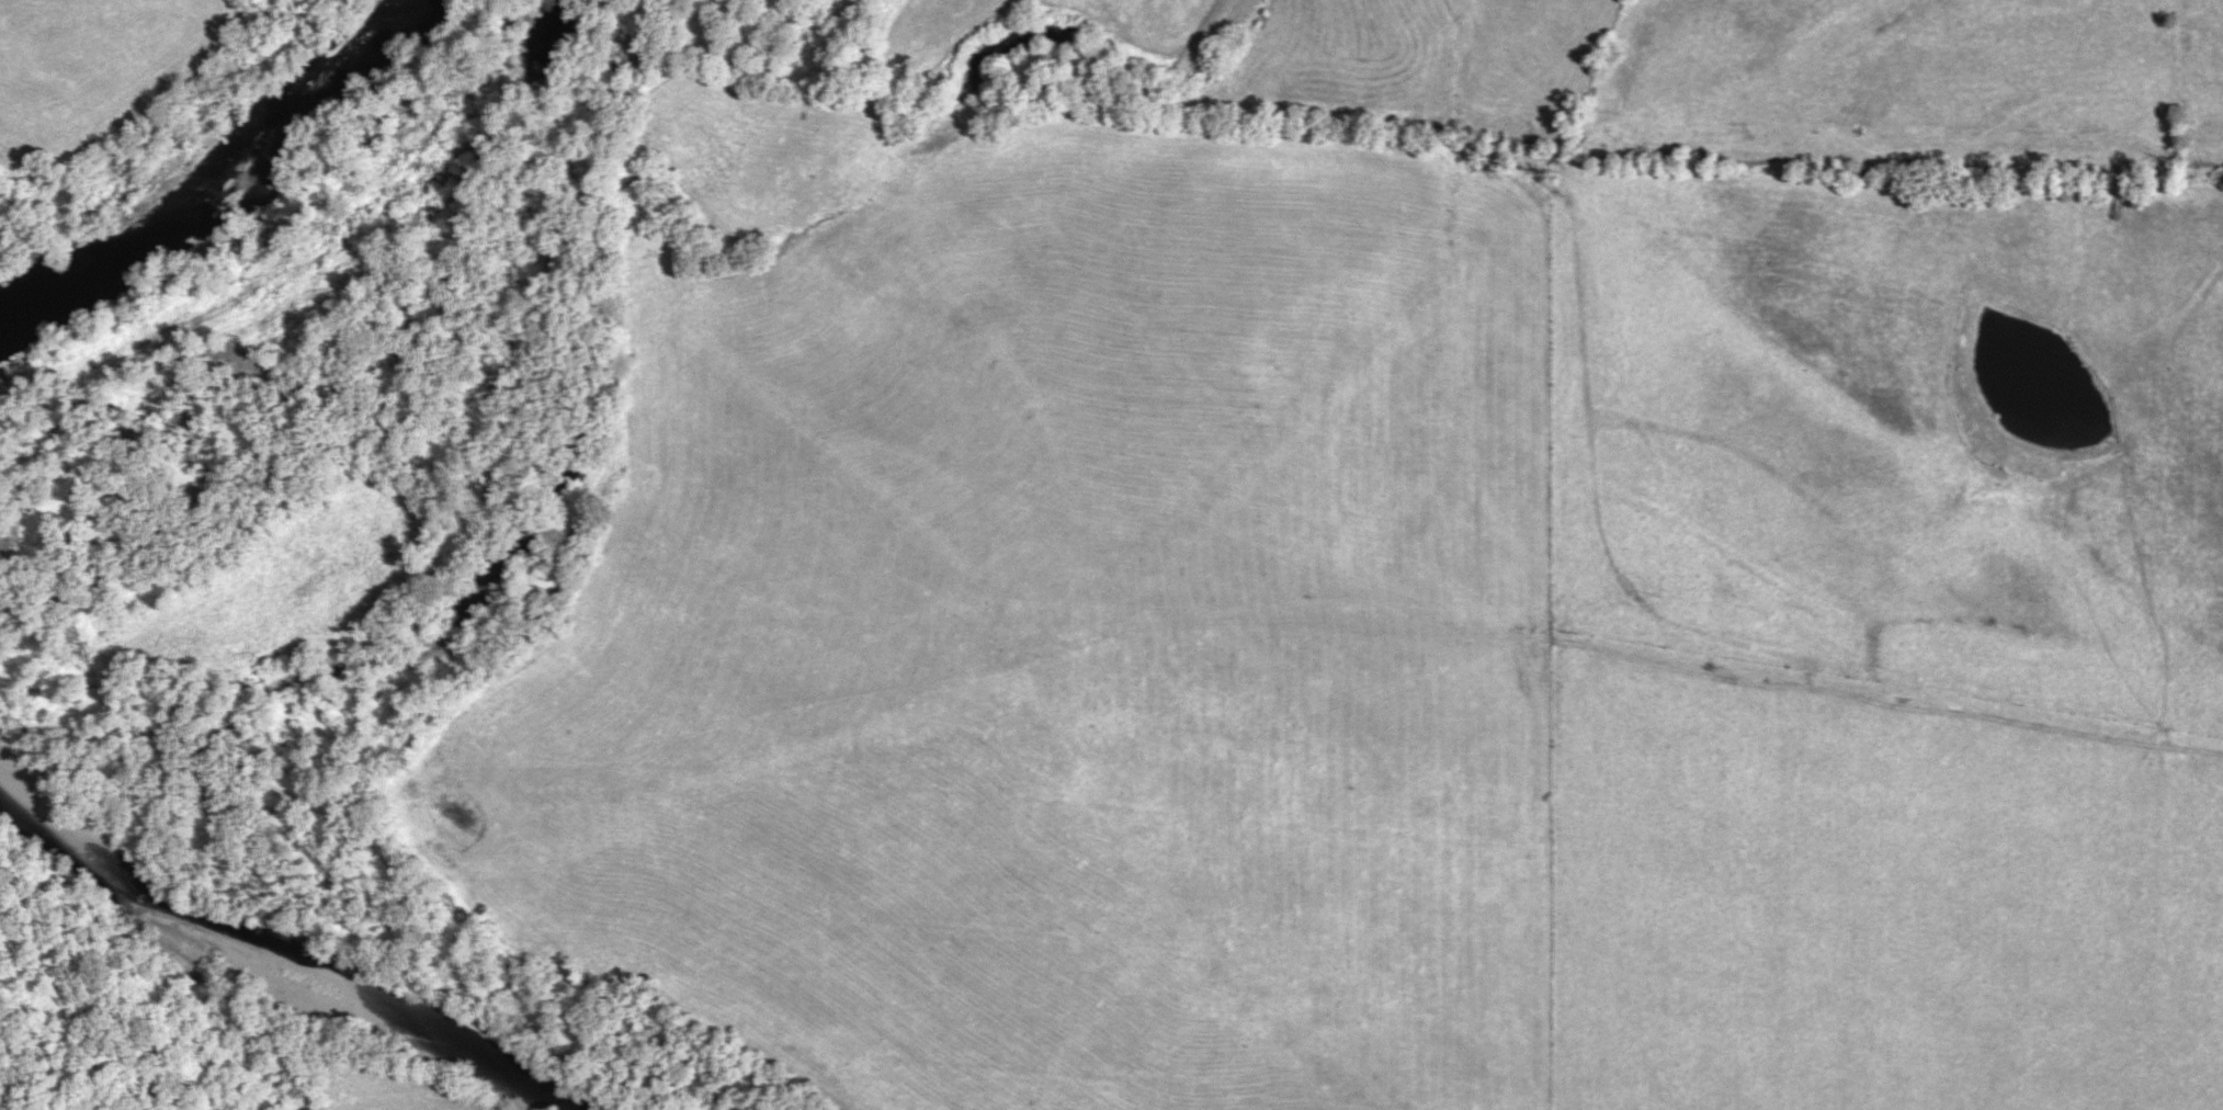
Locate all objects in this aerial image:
river: (224, 182)
river: (252, 951)

